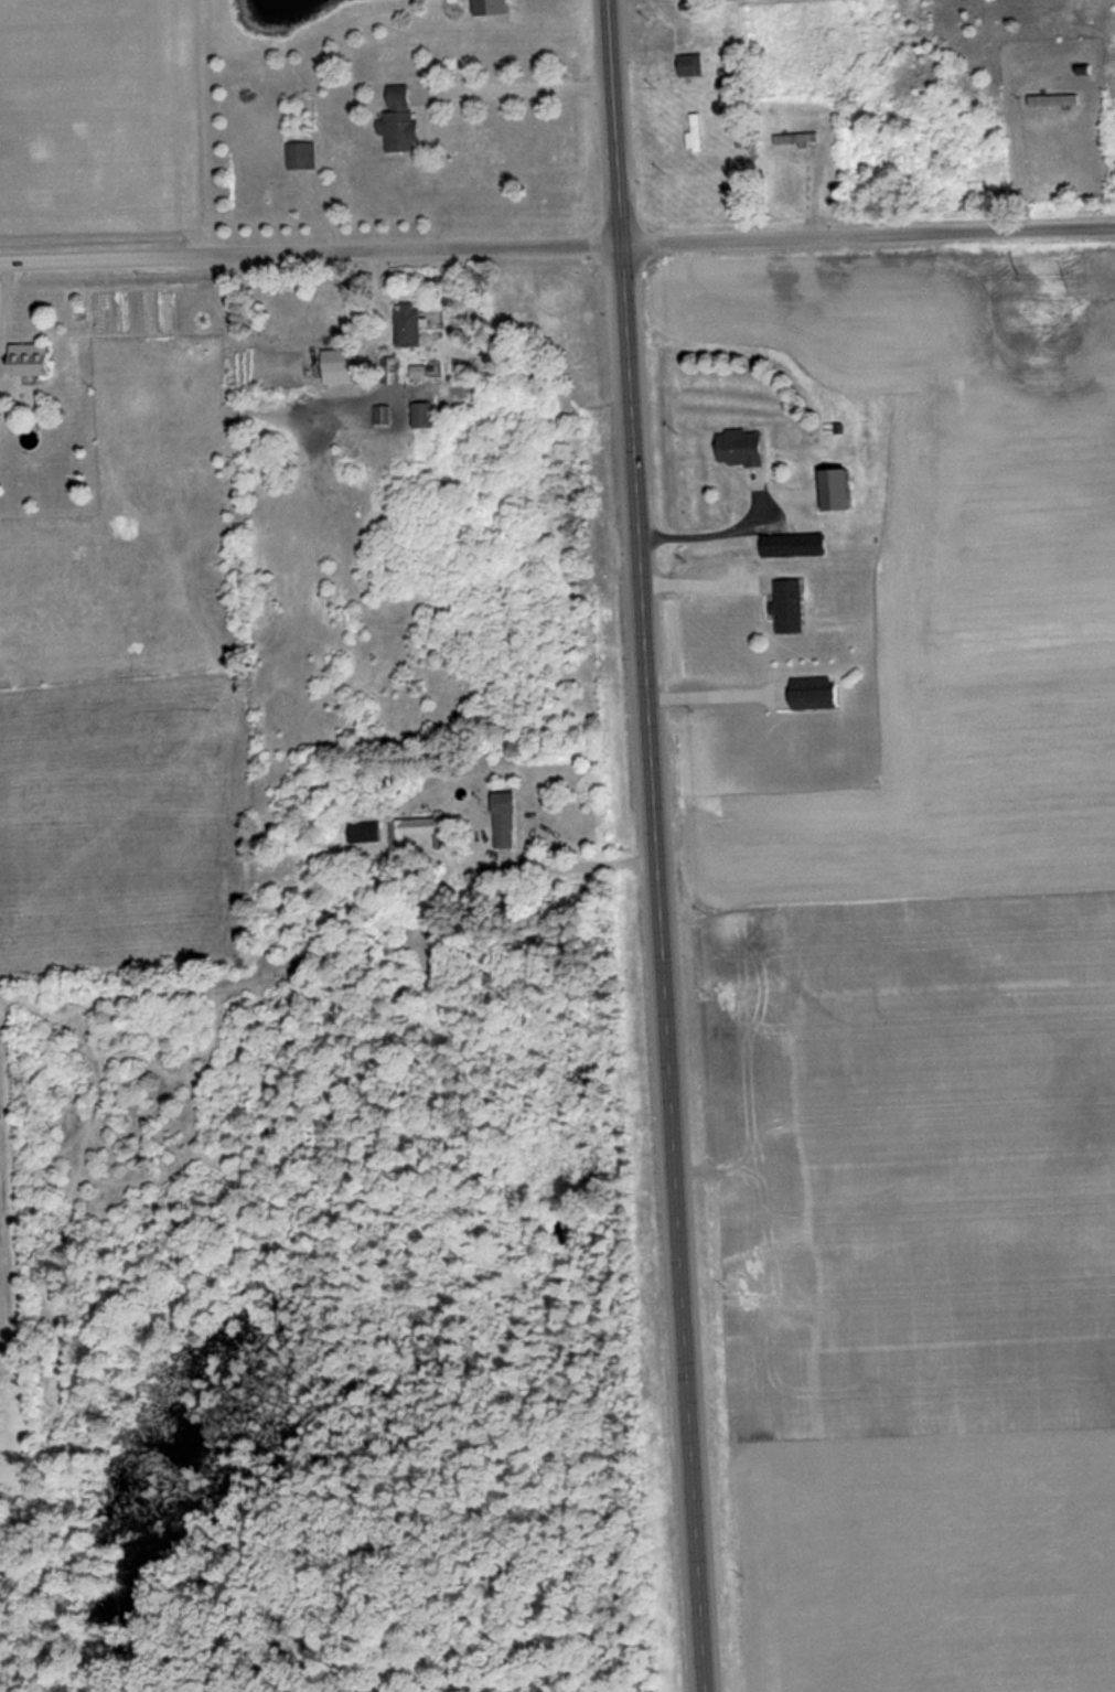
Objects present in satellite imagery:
building: (696, 65)
building: (1057, 100)
building: (405, 121)
building: (697, 133)
building: (798, 140)
building: (304, 156)
road: (868, 235)
road: (311, 253)
building: (414, 325)
building: (34, 361)
building: (346, 366)
building: (394, 371)
building: (386, 415)
building: (429, 415)
building: (749, 448)
building: (848, 490)
building: (800, 546)
building: (792, 608)
building: (511, 821)
building: (421, 832)
building: (364, 834)
road: (655, 846)

